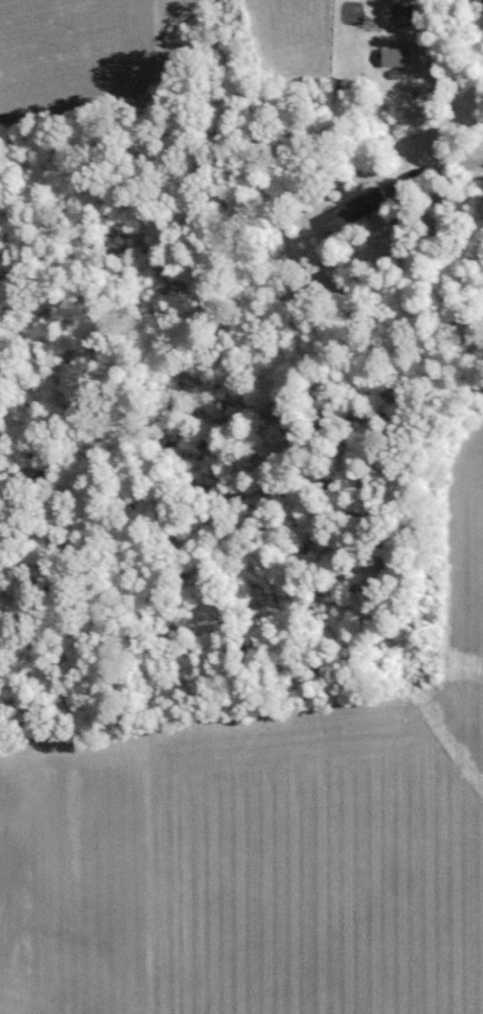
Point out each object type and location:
building: (396, 57)
road: (430, 97)
building: (352, 210)

